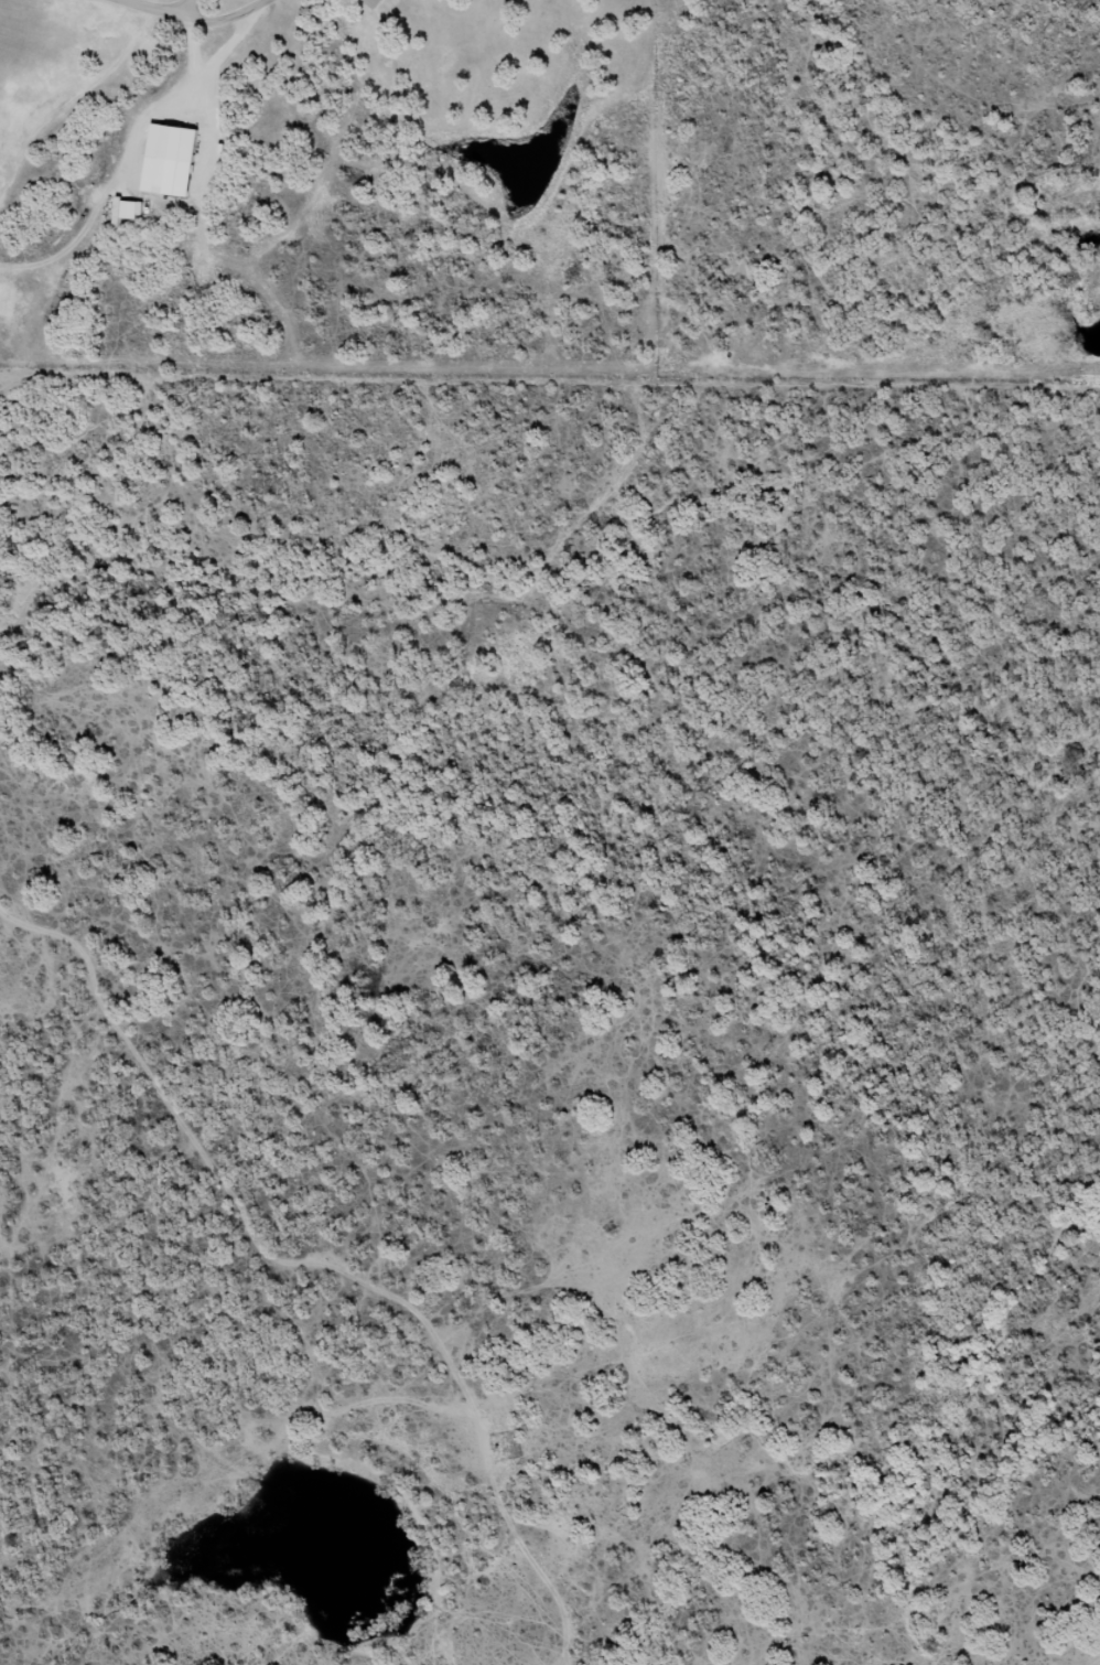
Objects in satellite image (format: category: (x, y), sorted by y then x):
building: (174, 141)

